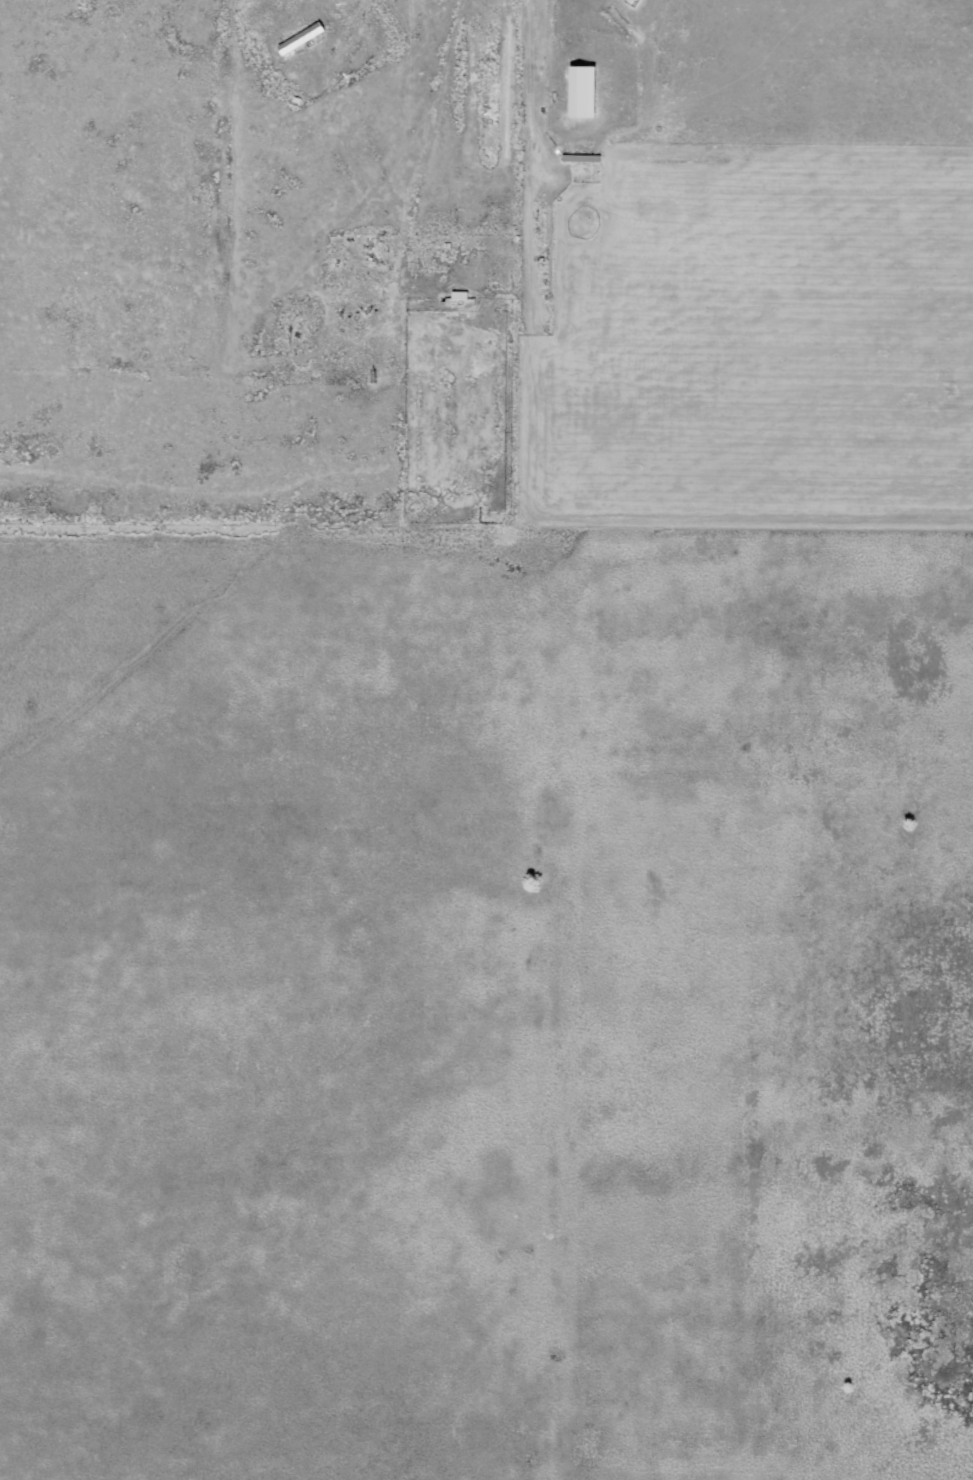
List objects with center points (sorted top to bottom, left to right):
building: (301, 37)
road: (529, 89)
building: (584, 91)

